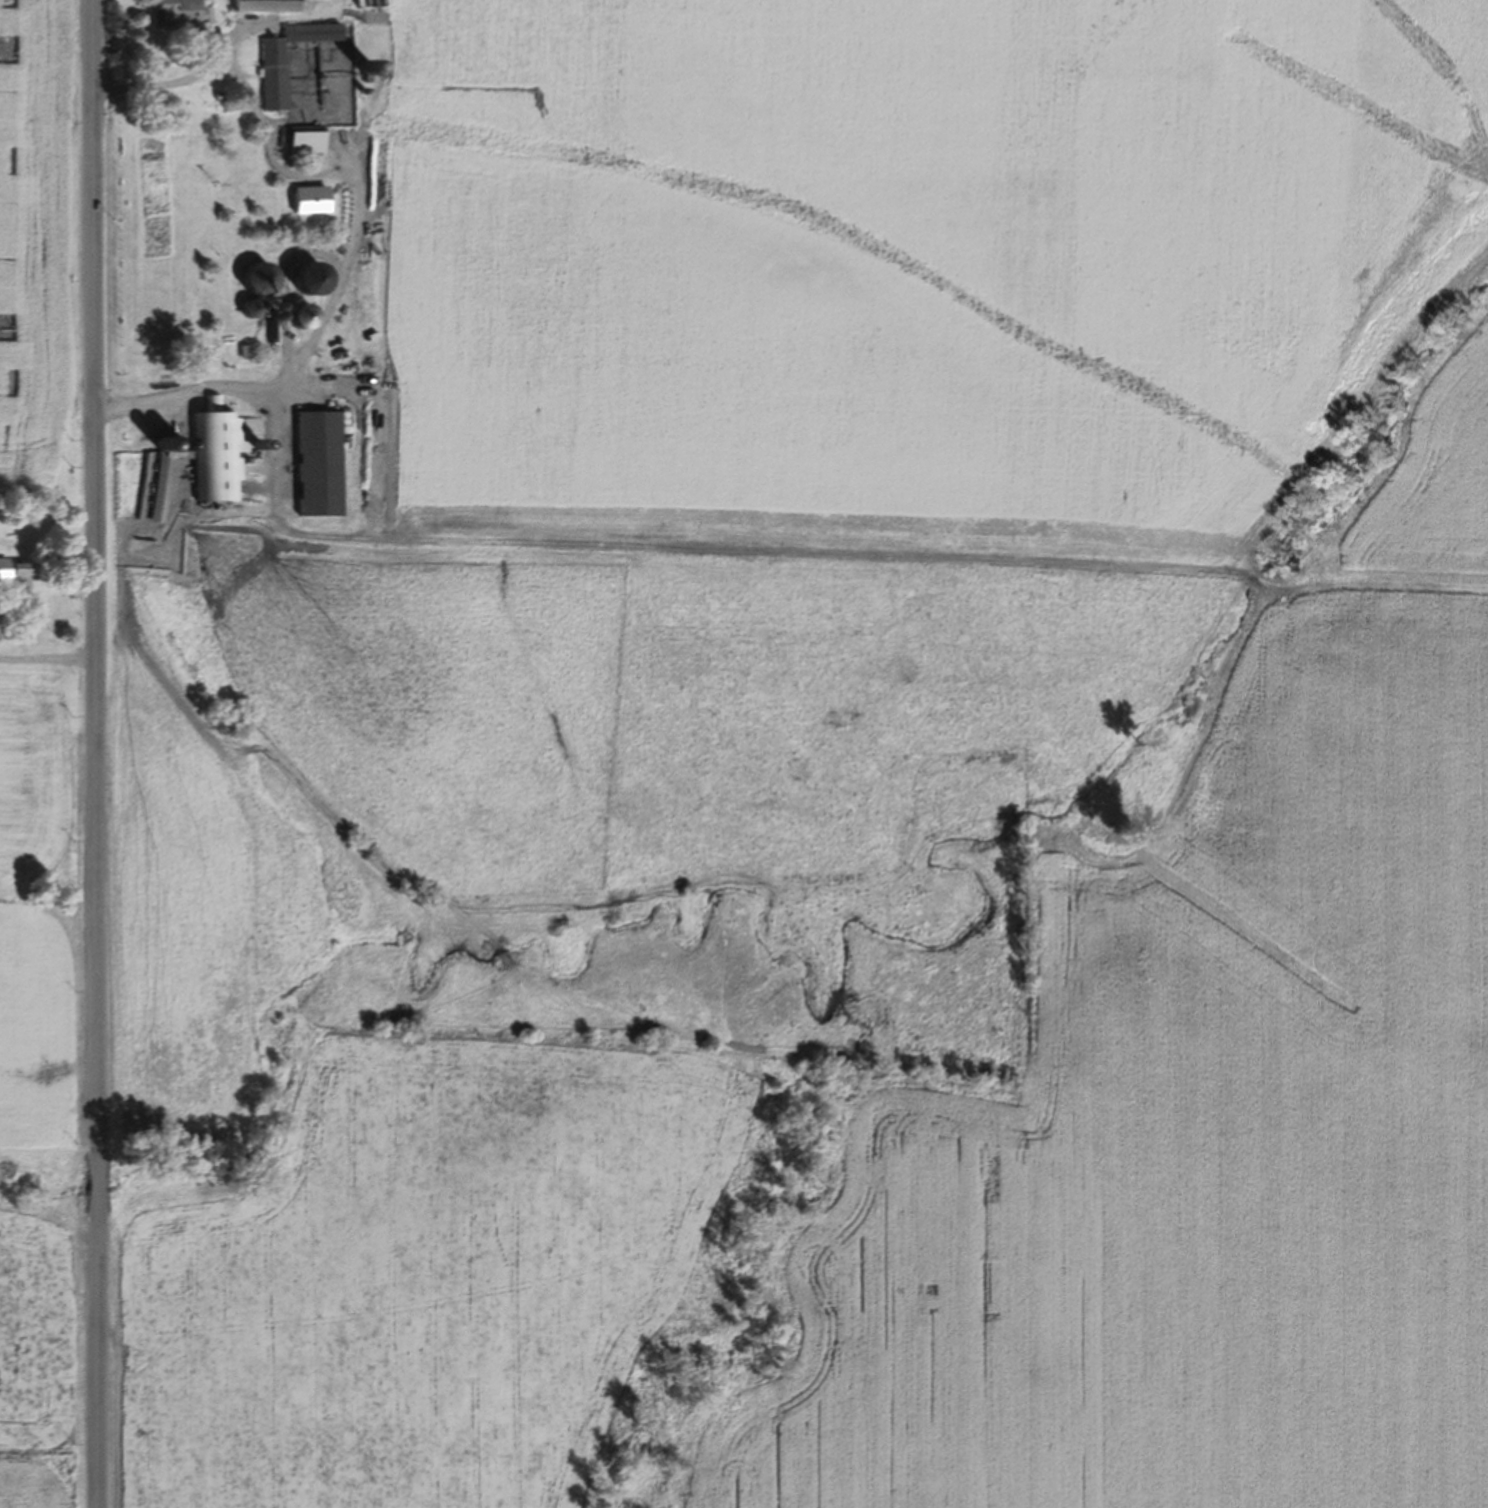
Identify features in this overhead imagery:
building: (268, 6)
building: (182, 13)
building: (276, 76)
building: (309, 142)
building: (262, 279)
building: (316, 280)
building: (255, 309)
building: (307, 316)
building: (218, 453)
building: (321, 464)
building: (16, 573)
road: (97, 753)

